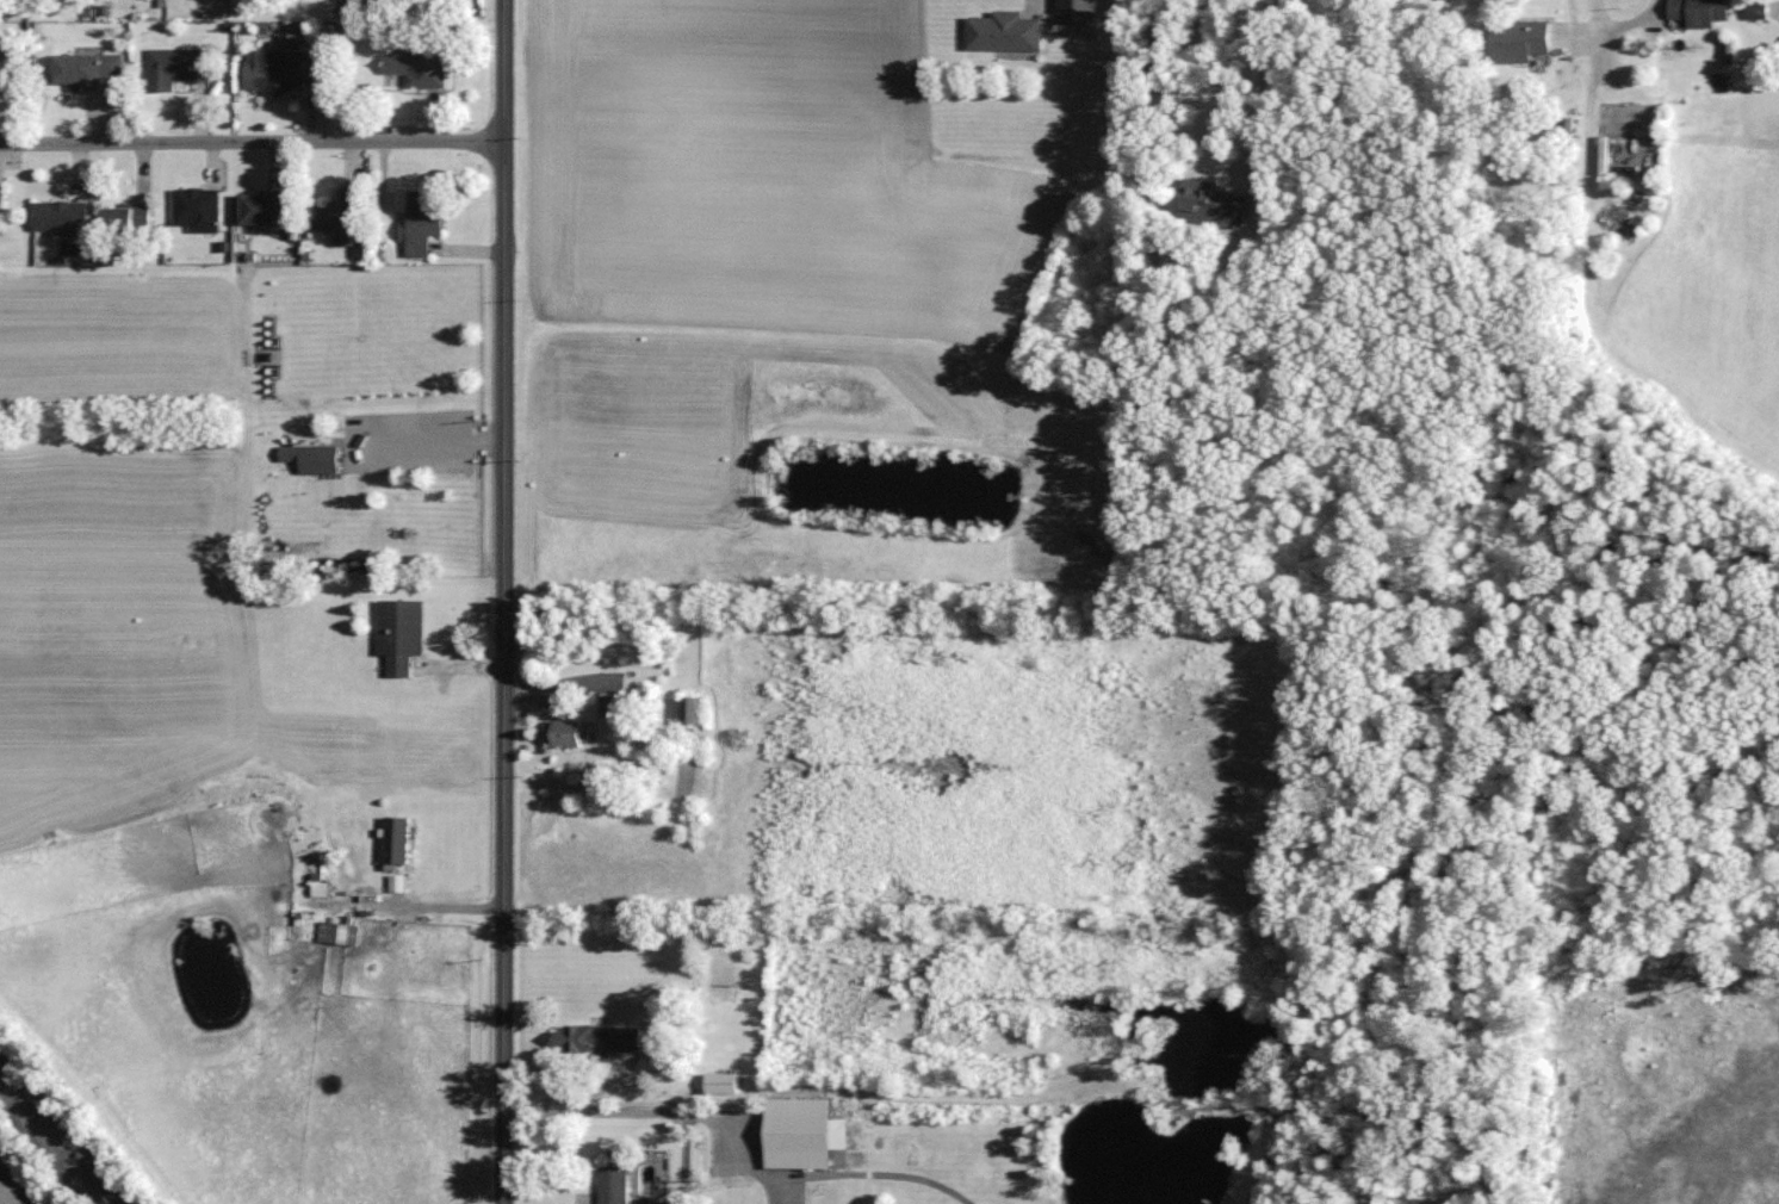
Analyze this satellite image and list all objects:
building: (1760, 8)
building: (1701, 12)
road: (1628, 24)
road: (1580, 25)
building: (1006, 32)
building: (1523, 41)
building: (422, 62)
building: (179, 67)
building: (12, 69)
building: (88, 70)
building: (283, 70)
road: (504, 70)
road: (1260, 85)
road: (252, 141)
building: (1214, 203)
building: (2, 204)
building: (198, 209)
building: (264, 209)
building: (62, 217)
building: (130, 218)
building: (347, 218)
building: (424, 223)
building: (314, 459)
building: (403, 634)
road: (504, 672)
building: (614, 707)
building: (694, 710)
building: (570, 733)
building: (399, 840)
building: (321, 890)
road: (427, 906)
building: (339, 933)
building: (601, 1041)
building: (724, 1084)
road: (661, 1113)
building: (805, 1134)
railway: (54, 1141)
building: (614, 1186)

